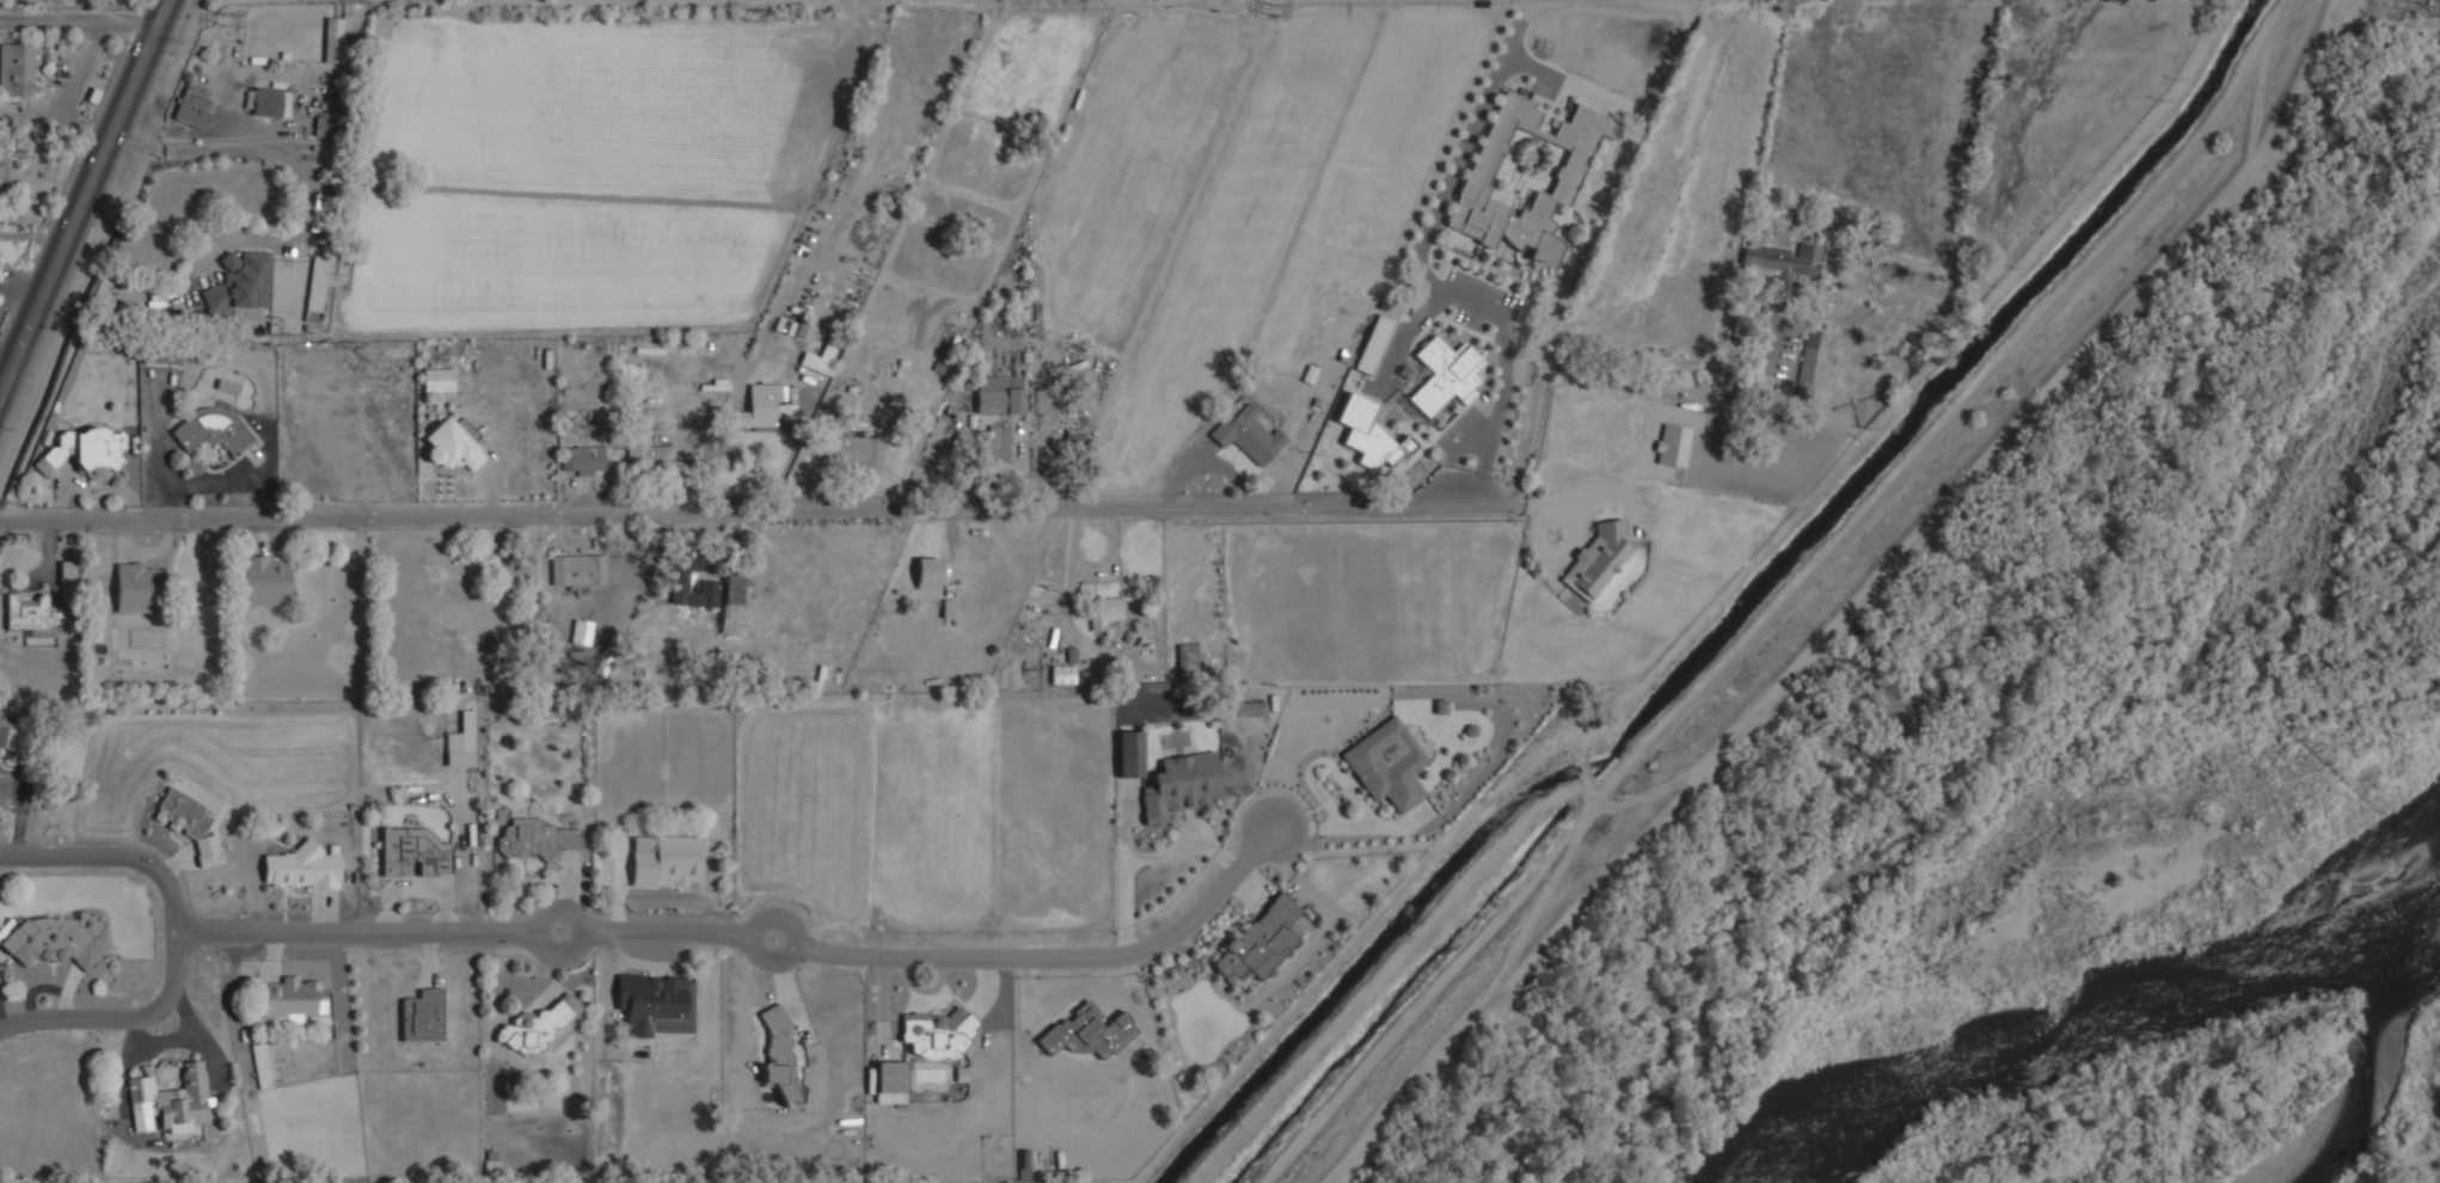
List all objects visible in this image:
road: (80, 22)
building: (333, 38)
building: (16, 68)
building: (268, 100)
building: (194, 105)
building: (327, 127)
building: (1484, 167)
road: (85, 200)
building: (321, 213)
building: (1782, 259)
building: (315, 287)
building: (241, 288)
building: (1374, 344)
building: (827, 353)
building: (161, 356)
building: (1807, 356)
building: (437, 376)
building: (227, 385)
building: (1000, 393)
building: (1430, 399)
road: (1500, 405)
building: (761, 406)
building: (1822, 411)
building: (213, 428)
building: (1250, 433)
building: (1369, 434)
building: (994, 443)
building: (1673, 445)
building: (452, 446)
building: (856, 449)
building: (648, 450)
building: (86, 452)
building: (583, 459)
road: (913, 509)
building: (1599, 562)
building: (68, 569)
building: (578, 570)
building: (928, 572)
building: (681, 575)
building: (265, 581)
building: (139, 588)
building: (732, 599)
building: (1104, 612)
building: (33, 615)
building: (582, 636)
building: (1063, 674)
building: (1249, 709)
building: (11, 737)
building: (461, 741)
building: (1387, 765)
building: (1181, 785)
building: (190, 825)
building: (535, 838)
building: (413, 850)
building: (664, 859)
building: (302, 868)
road: (239, 932)
road: (668, 932)
building: (54, 939)
building: (1259, 940)
road: (570, 951)
road: (1061, 956)
road: (772, 961)
building: (290, 998)
building: (656, 1004)
river: (2099, 1010)
building: (422, 1016)
road: (119, 1019)
building: (538, 1025)
building: (1089, 1032)
building: (937, 1034)
building: (778, 1053)
river: (2375, 1062)
building: (263, 1065)
building: (962, 1073)
building: (890, 1077)
building: (171, 1101)
road: (2408, 1163)
building: (1025, 1164)

